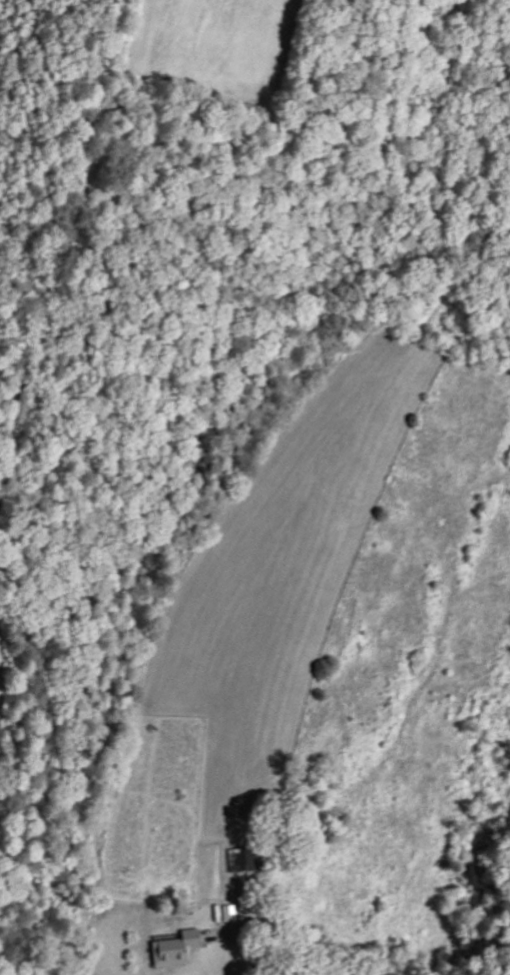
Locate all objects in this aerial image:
building: (174, 951)

